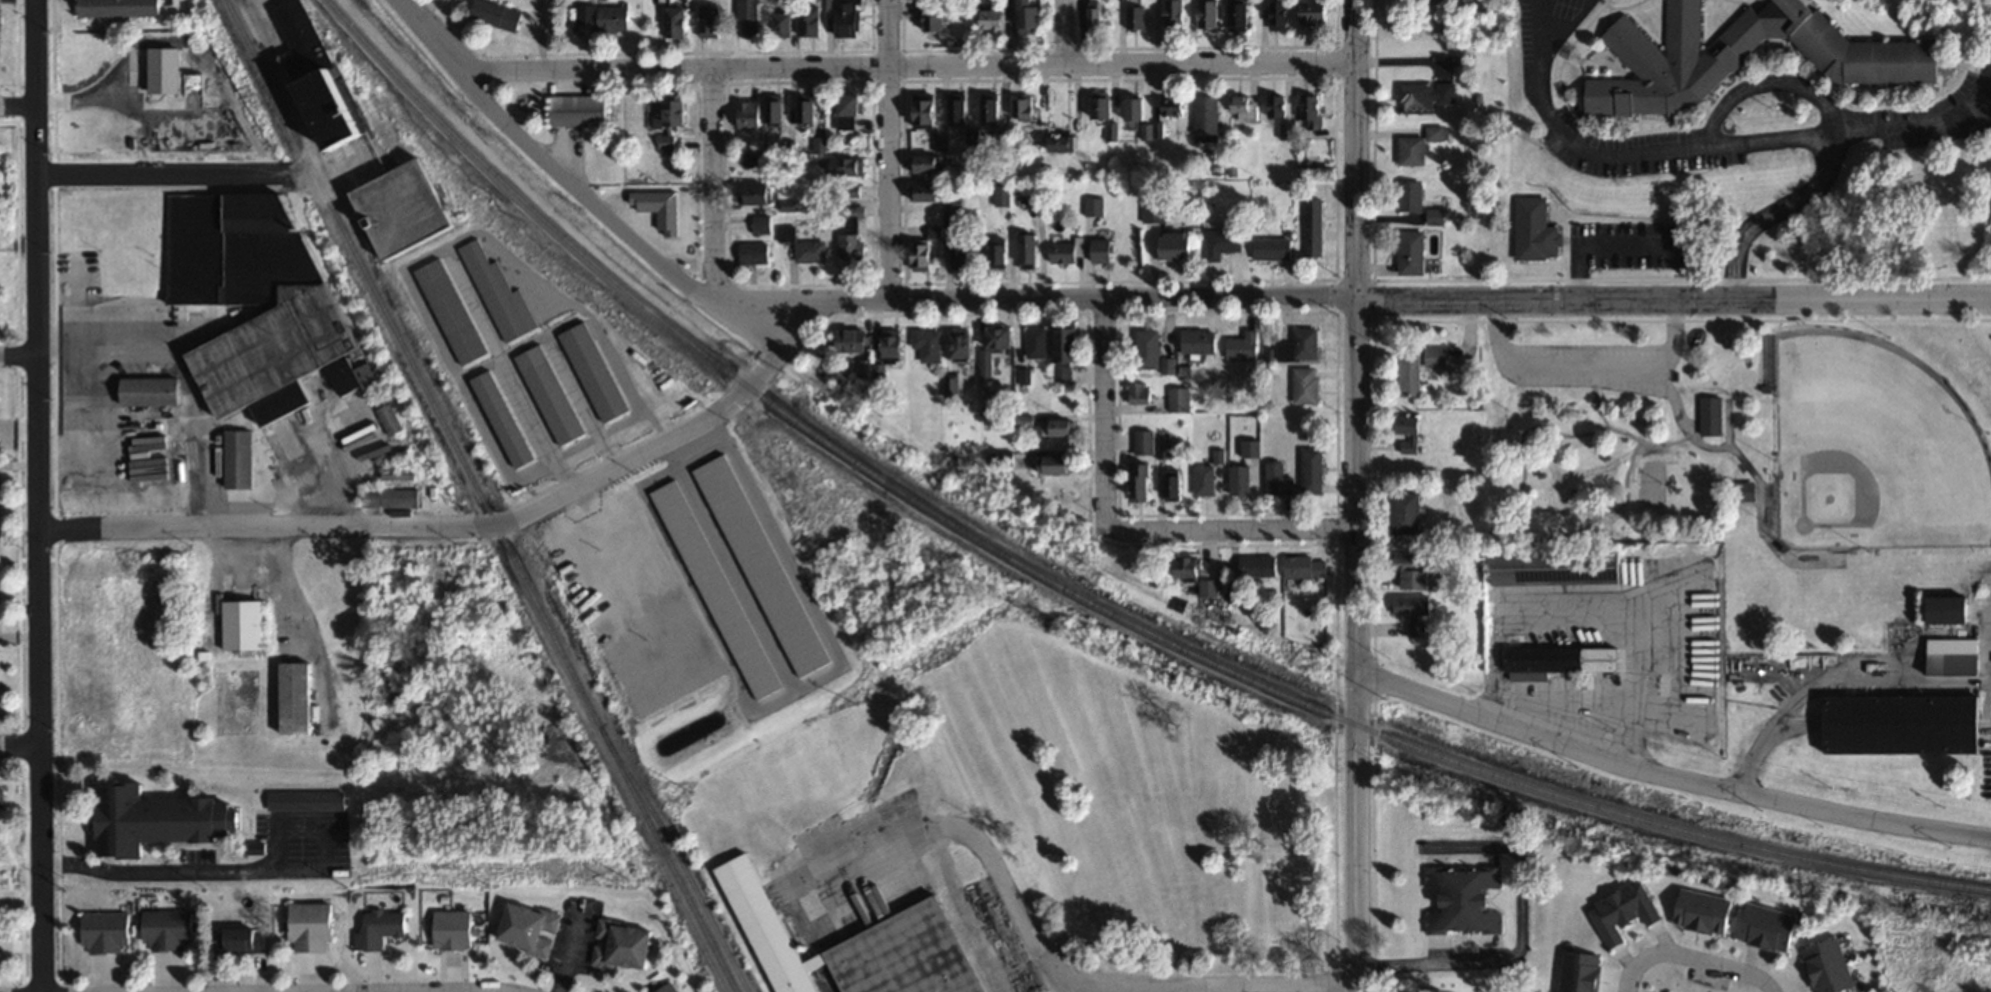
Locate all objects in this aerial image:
building: (119, 7)
building: (1313, 11)
building: (496, 13)
building: (1174, 13)
building: (1206, 13)
building: (745, 14)
building: (1238, 14)
building: (1095, 15)
building: (1281, 15)
building: (604, 16)
building: (998, 16)
building: (1033, 16)
building: (850, 17)
building: (1135, 17)
road: (1533, 18)
building: (710, 19)
building: (812, 19)
building: (935, 19)
building: (675, 20)
building: (785, 23)
building: (0, 30)
road: (1066, 32)
road: (539, 35)
building: (1741, 55)
road: (910, 66)
building: (320, 75)
building: (1425, 95)
building: (1243, 104)
road: (18, 105)
building: (1175, 105)
building: (1277, 106)
building: (1104, 107)
building: (928, 108)
building: (1027, 108)
building: (580, 109)
building: (851, 109)
building: (961, 109)
building: (994, 110)
building: (778, 111)
building: (810, 111)
building: (1312, 111)
building: (750, 113)
building: (1141, 115)
building: (1208, 115)
building: (667, 119)
building: (195, 122)
road: (1894, 124)
building: (1113, 130)
building: (974, 135)
road: (1737, 140)
building: (944, 143)
building: (820, 144)
building: (1420, 144)
road: (890, 150)
building: (751, 160)
building: (930, 162)
building: (848, 165)
road: (152, 174)
road: (578, 190)
building: (929, 191)
building: (759, 193)
building: (1003, 194)
building: (1411, 196)
building: (407, 206)
building: (1093, 206)
building: (1152, 207)
building: (1436, 215)
building: (949, 217)
building: (762, 223)
building: (1314, 226)
building: (1536, 230)
building: (936, 231)
road: (714, 233)
building: (1222, 242)
road: (19, 243)
building: (852, 245)
building: (1176, 245)
building: (1273, 247)
building: (1027, 249)
building: (811, 250)
building: (1065, 250)
building: (1103, 250)
building: (754, 252)
building: (1413, 252)
building: (962, 253)
building: (1000, 253)
building: (925, 255)
building: (500, 294)
road: (978, 299)
building: (255, 300)
building: (453, 311)
building: (855, 340)
building: (1199, 341)
building: (1036, 342)
building: (894, 343)
building: (927, 343)
building: (1243, 345)
building: (1300, 345)
building: (964, 346)
building: (1148, 349)
building: (1066, 351)
road: (19, 355)
building: (1435, 356)
road: (1583, 360)
building: (987, 364)
building: (1167, 365)
building: (870, 369)
building: (595, 371)
building: (1409, 371)
building: (1025, 376)
building: (1305, 385)
building: (151, 390)
road: (1105, 392)
building: (1138, 392)
building: (551, 394)
building: (1179, 398)
building: (1712, 415)
building: (505, 418)
building: (390, 419)
road: (19, 423)
building: (1059, 427)
building: (1409, 433)
building: (1144, 441)
park: (1873, 446)
building: (1164, 449)
park: (1750, 452)
building: (239, 458)
building: (1056, 464)
road: (19, 466)
building: (1312, 470)
building: (1243, 472)
building: (1278, 478)
building: (1204, 479)
building: (1141, 481)
building: (1174, 485)
building: (1747, 490)
road: (39, 495)
railway: (480, 495)
road: (1357, 495)
building: (391, 497)
building: (1410, 513)
road: (1212, 531)
building: (659, 537)
building: (1257, 565)
building: (1190, 566)
building: (1306, 566)
building: (1558, 567)
building: (1415, 571)
road: (280, 584)
building: (1208, 587)
building: (1235, 592)
building: (1412, 605)
building: (1951, 609)
building: (244, 624)
building: (1416, 628)
road: (20, 636)
building: (1955, 656)
building: (1561, 661)
building: (297, 698)
building: (1904, 724)
road: (20, 745)
road: (1667, 778)
building: (1, 797)
building: (159, 819)
railway: (684, 871)
building: (1464, 899)
building: (1623, 912)
building: (1704, 912)
building: (457, 924)
building: (312, 926)
railway: (691, 926)
building: (1768, 926)
building: (530, 927)
building: (168, 929)
building: (381, 929)
building: (106, 931)
road: (1518, 934)
building: (240, 940)
building: (623, 945)
building: (857, 947)
road: (1690, 959)
building: (1830, 966)
building: (1582, 972)
building: (669, 988)

